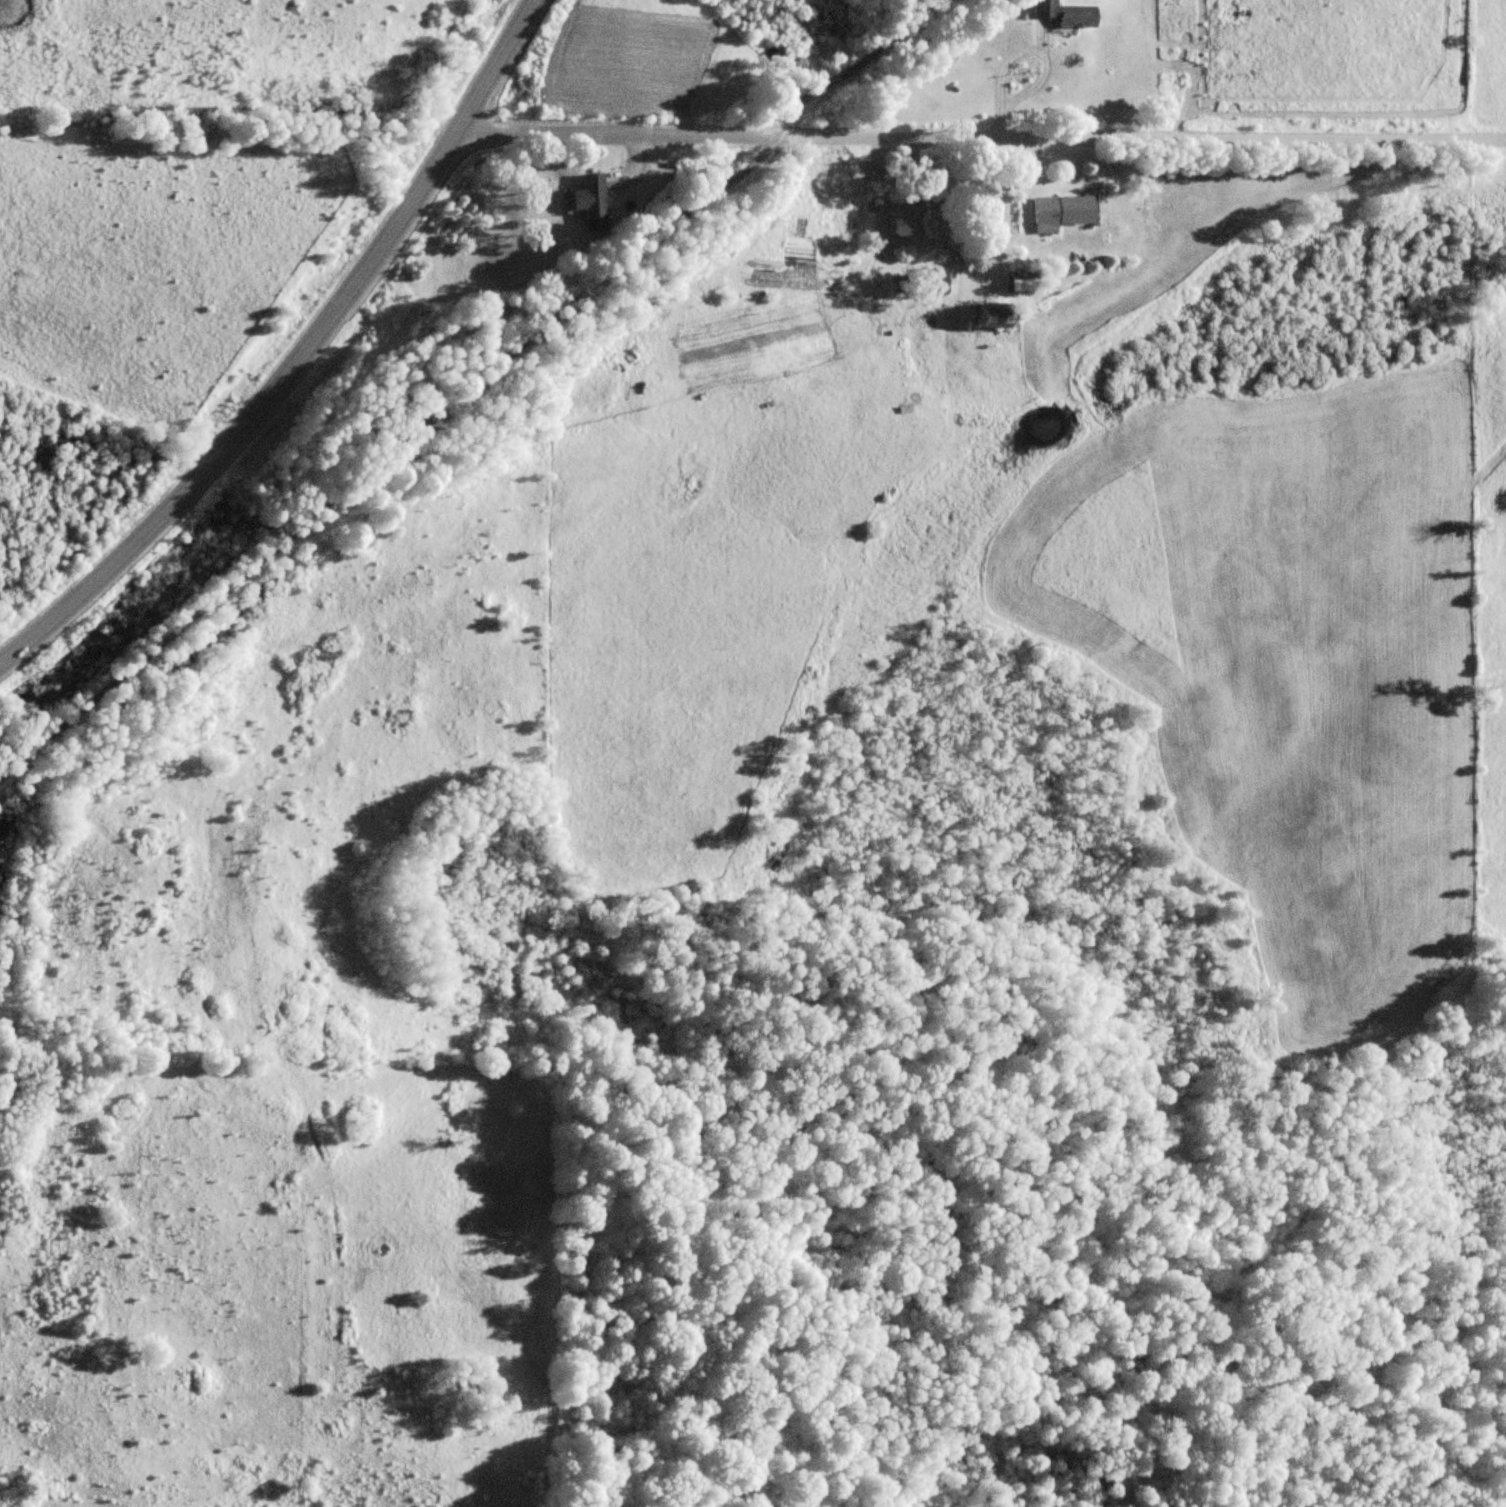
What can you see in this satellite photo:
building: (1069, 13)
road: (858, 68)
road: (982, 136)
building: (593, 201)
building: (1065, 212)
building: (940, 220)
building: (934, 280)
building: (1001, 315)
road: (300, 355)
road: (389, 458)

